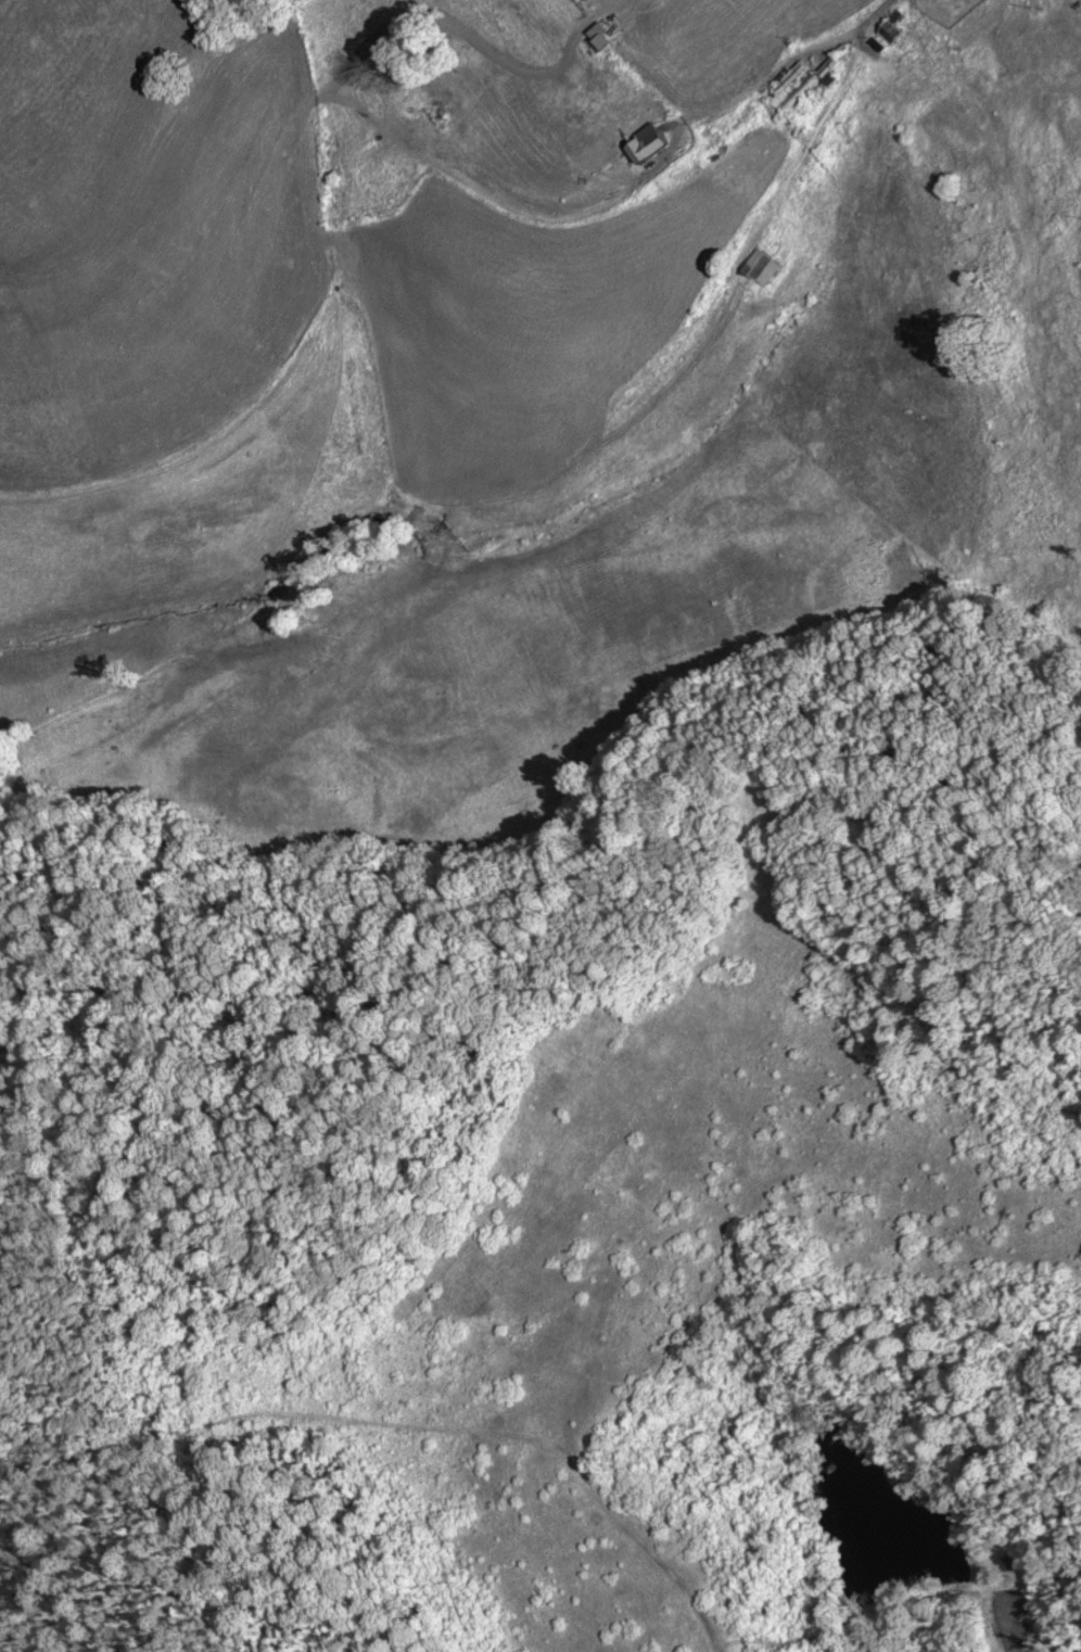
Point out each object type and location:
building: (886, 33)
building: (786, 78)
building: (804, 87)
road: (807, 137)
building: (641, 144)
building: (759, 269)

